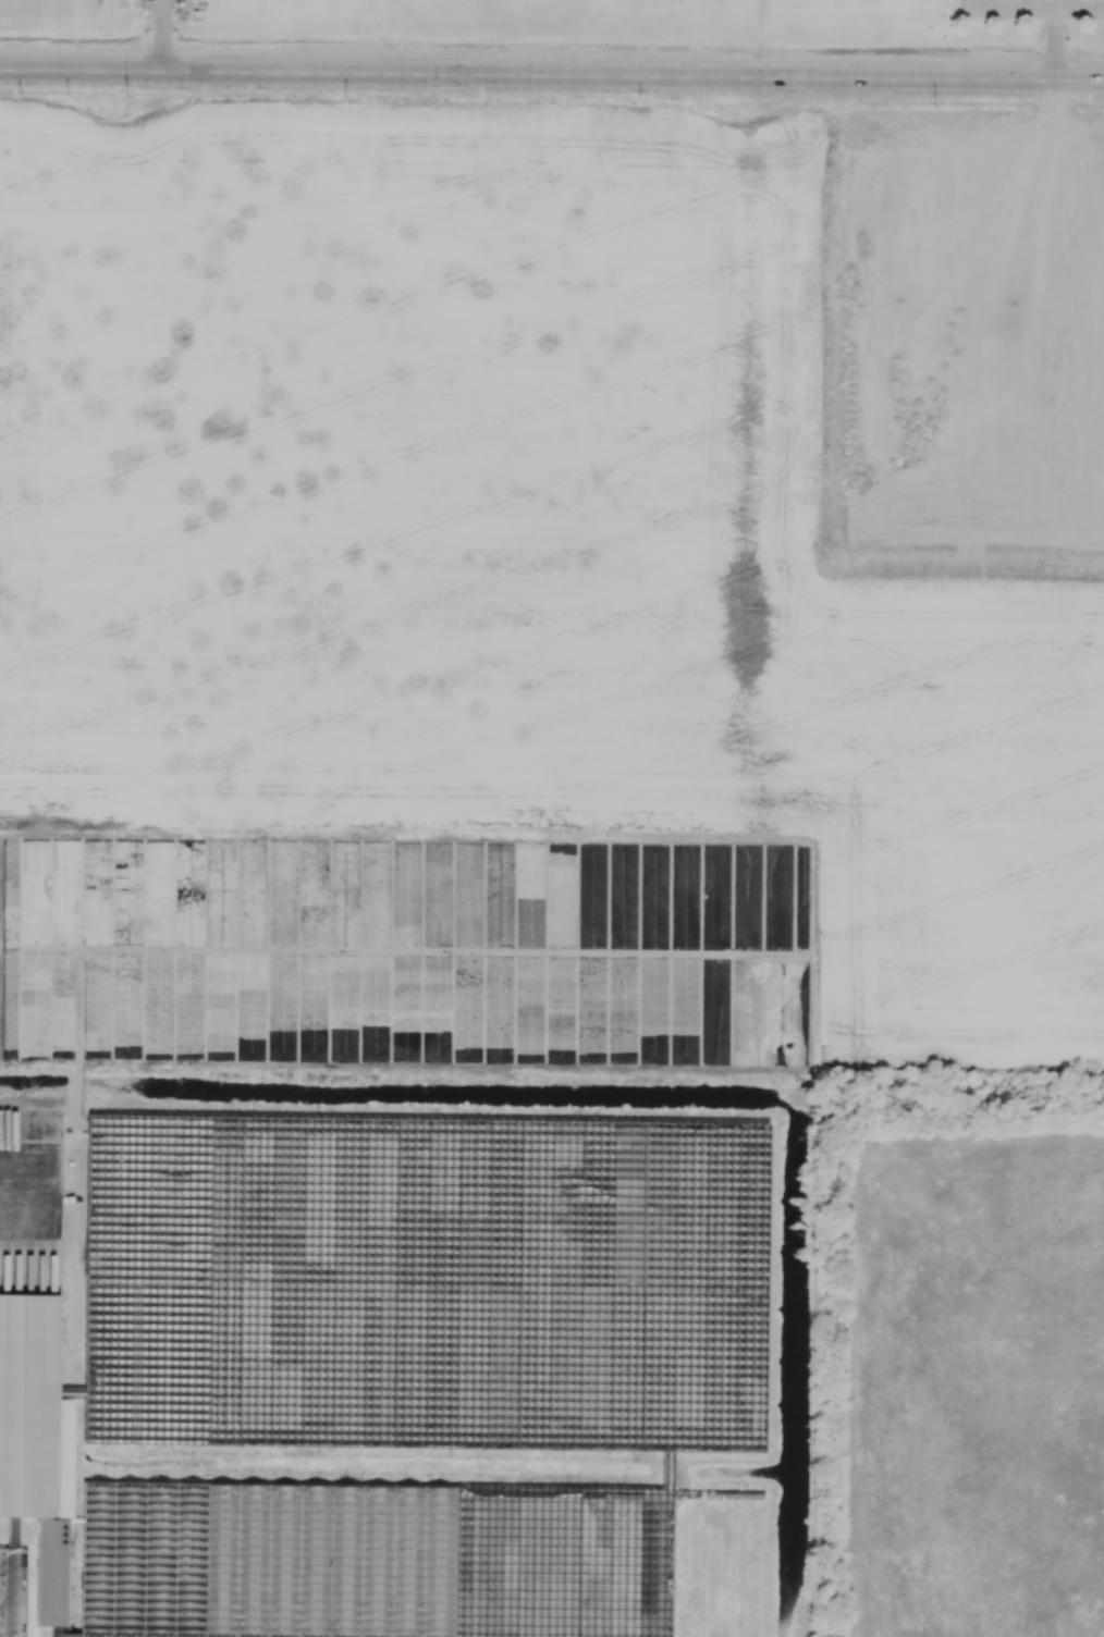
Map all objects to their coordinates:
parking lot: (1038, 1)
parking lot: (162, 3)
road: (187, 3)
road: (986, 4)
road: (1028, 5)
road: (1069, 5)
road: (962, 9)
road: (1019, 10)
road: (1053, 21)
road: (162, 36)
road: (552, 75)
building: (111, 1161)
road: (20, 1194)
building: (106, 1414)
building: (58, 1474)

